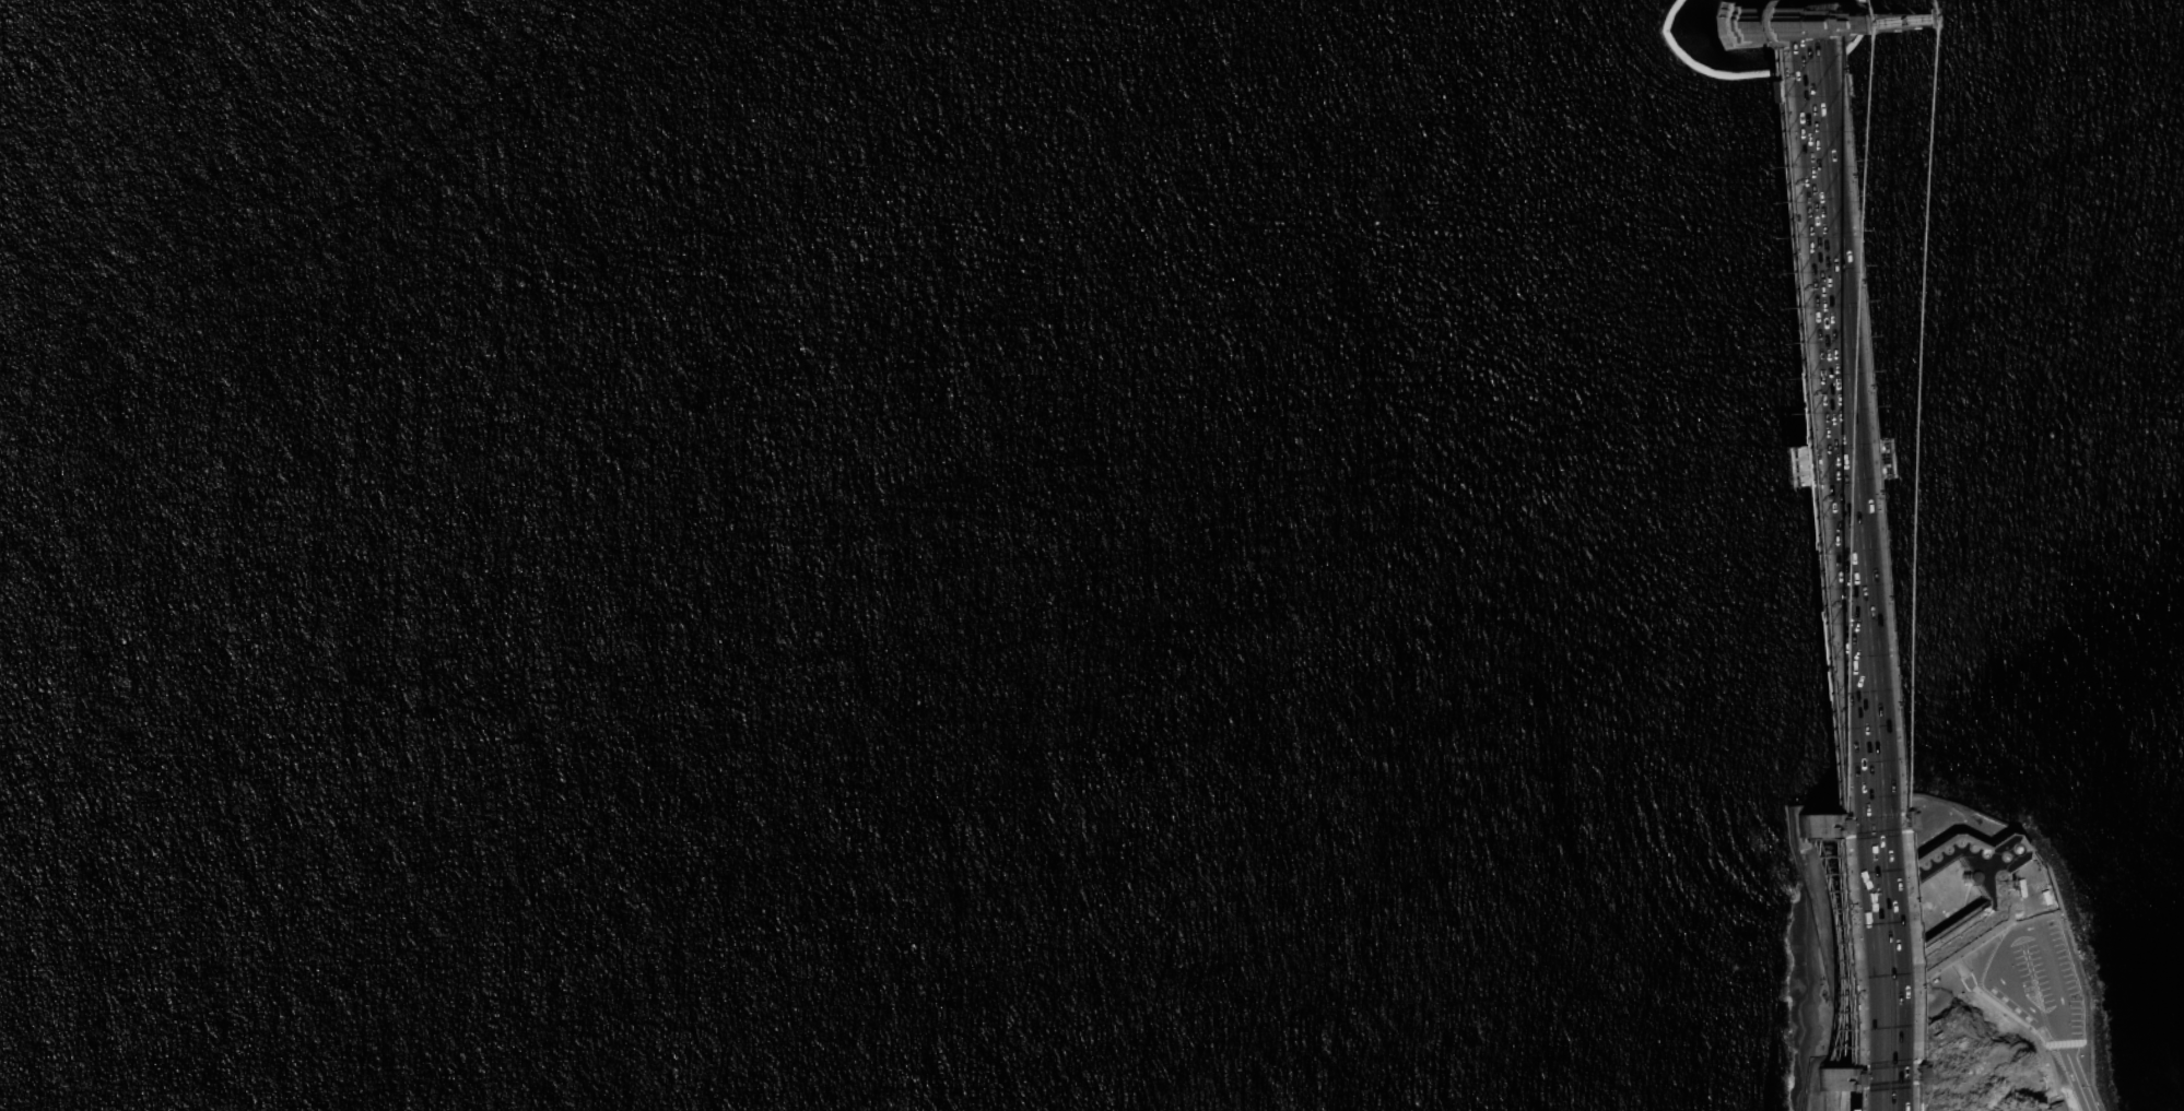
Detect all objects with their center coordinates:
road: (1784, 544)
road: (1841, 548)
road: (1803, 555)
road: (1823, 555)
road: (2034, 878)
road: (2031, 905)
building: (1969, 931)
park: (1944, 961)
road: (1960, 967)
parking lot: (2035, 969)
road: (1971, 982)
road: (2055, 982)
road: (2006, 984)
road: (2081, 989)
road: (2033, 1031)
road: (2064, 1043)
road: (2075, 1077)
road: (2056, 1099)
building: (2055, 1107)

